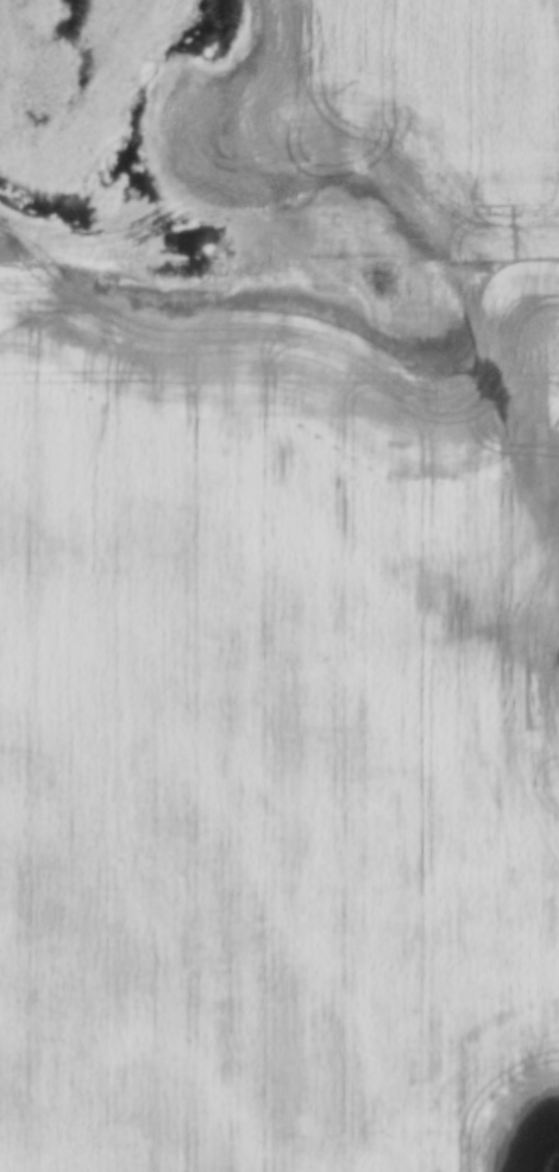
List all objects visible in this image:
crop: (288, 606)

